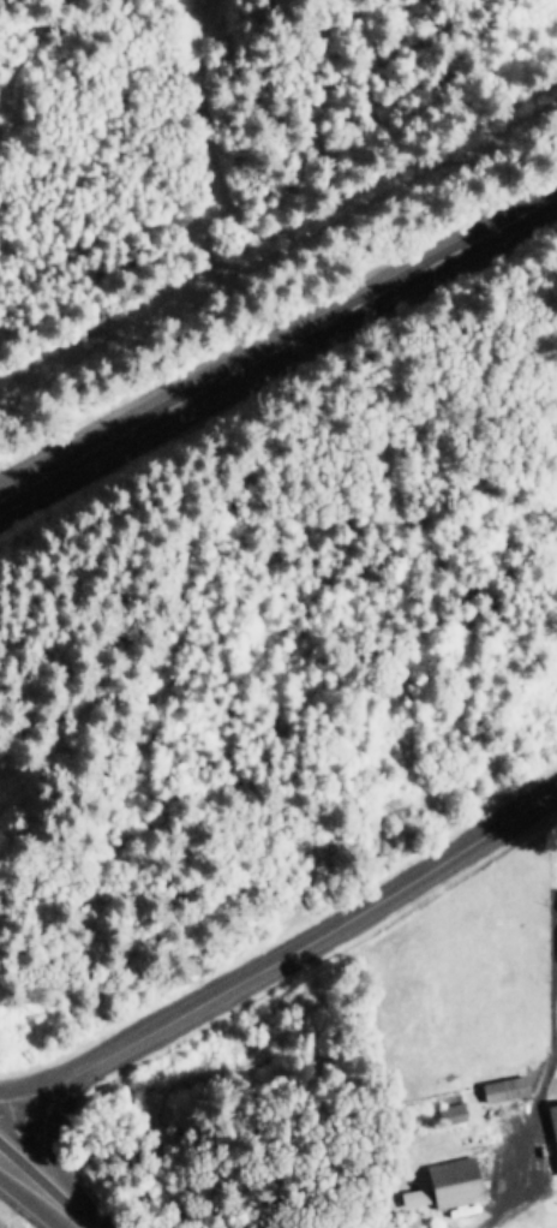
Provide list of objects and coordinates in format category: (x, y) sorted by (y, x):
road: (278, 346)
road: (323, 934)
crop: (462, 1018)
road: (41, 1080)
building: (507, 1091)
building: (555, 1119)
road: (522, 1141)
road: (49, 1147)
road: (8, 1163)
road: (8, 1175)
building: (461, 1184)
road: (47, 1203)

